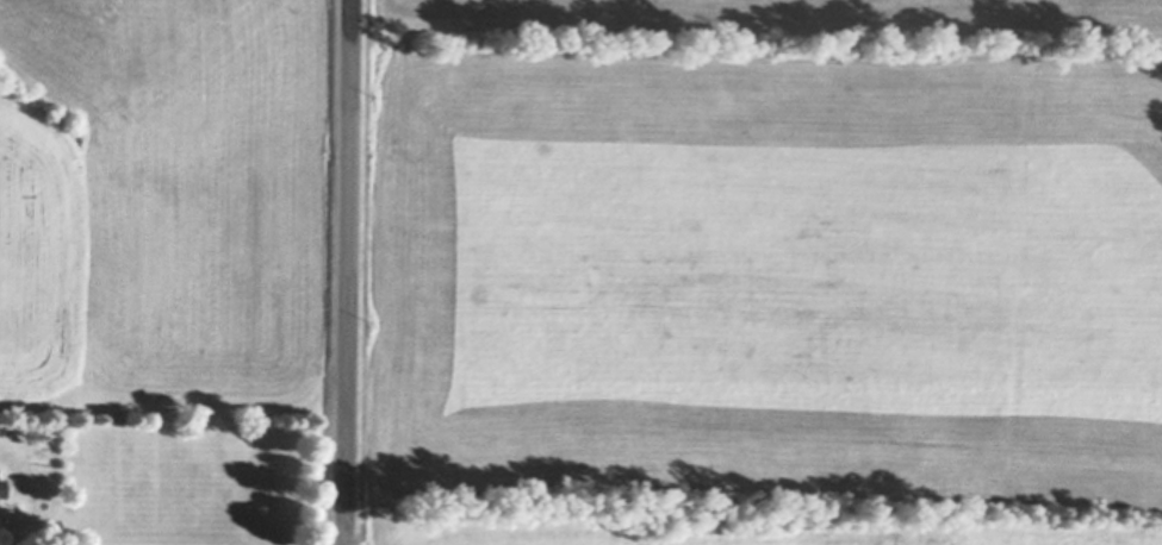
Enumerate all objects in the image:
road: (350, 272)
building: (4, 489)

